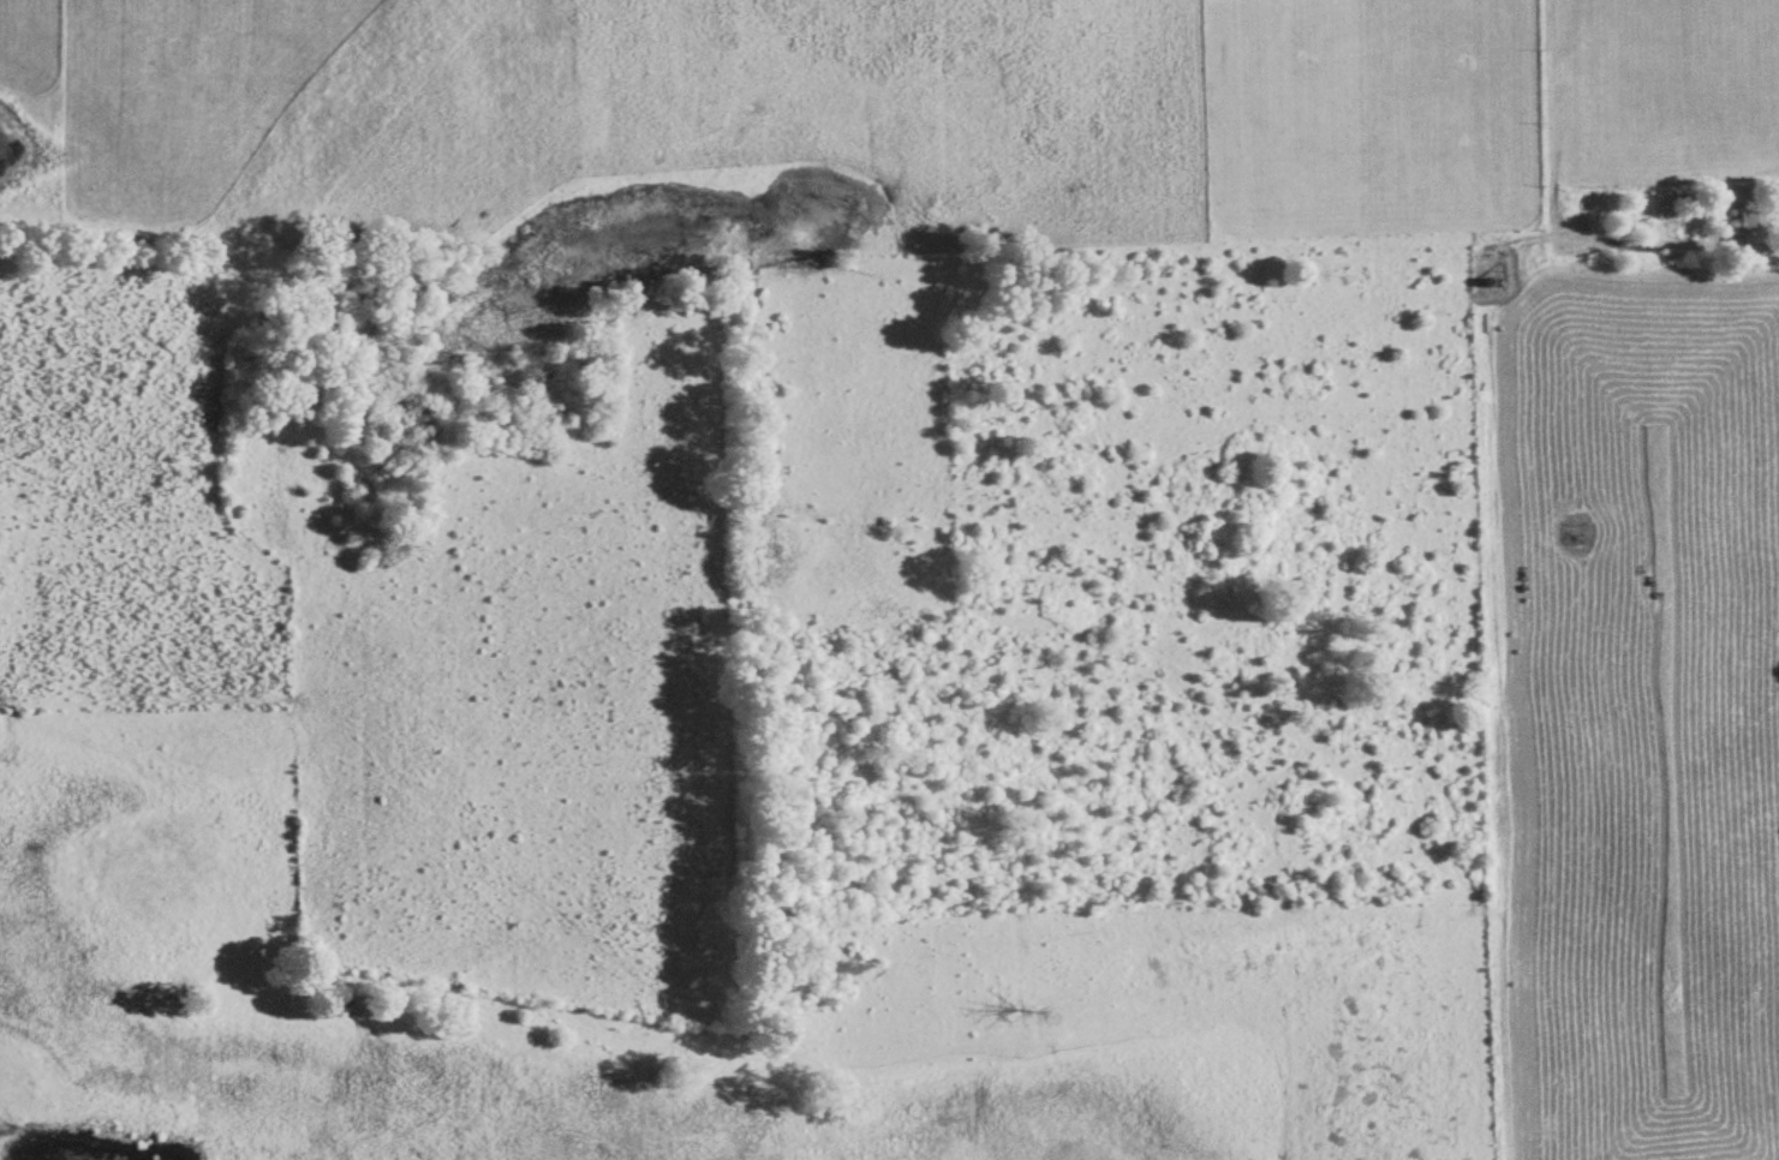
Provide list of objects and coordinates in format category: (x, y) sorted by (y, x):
crop: (883, 116)
road: (96, 524)
road: (1446, 602)
crop: (410, 630)

